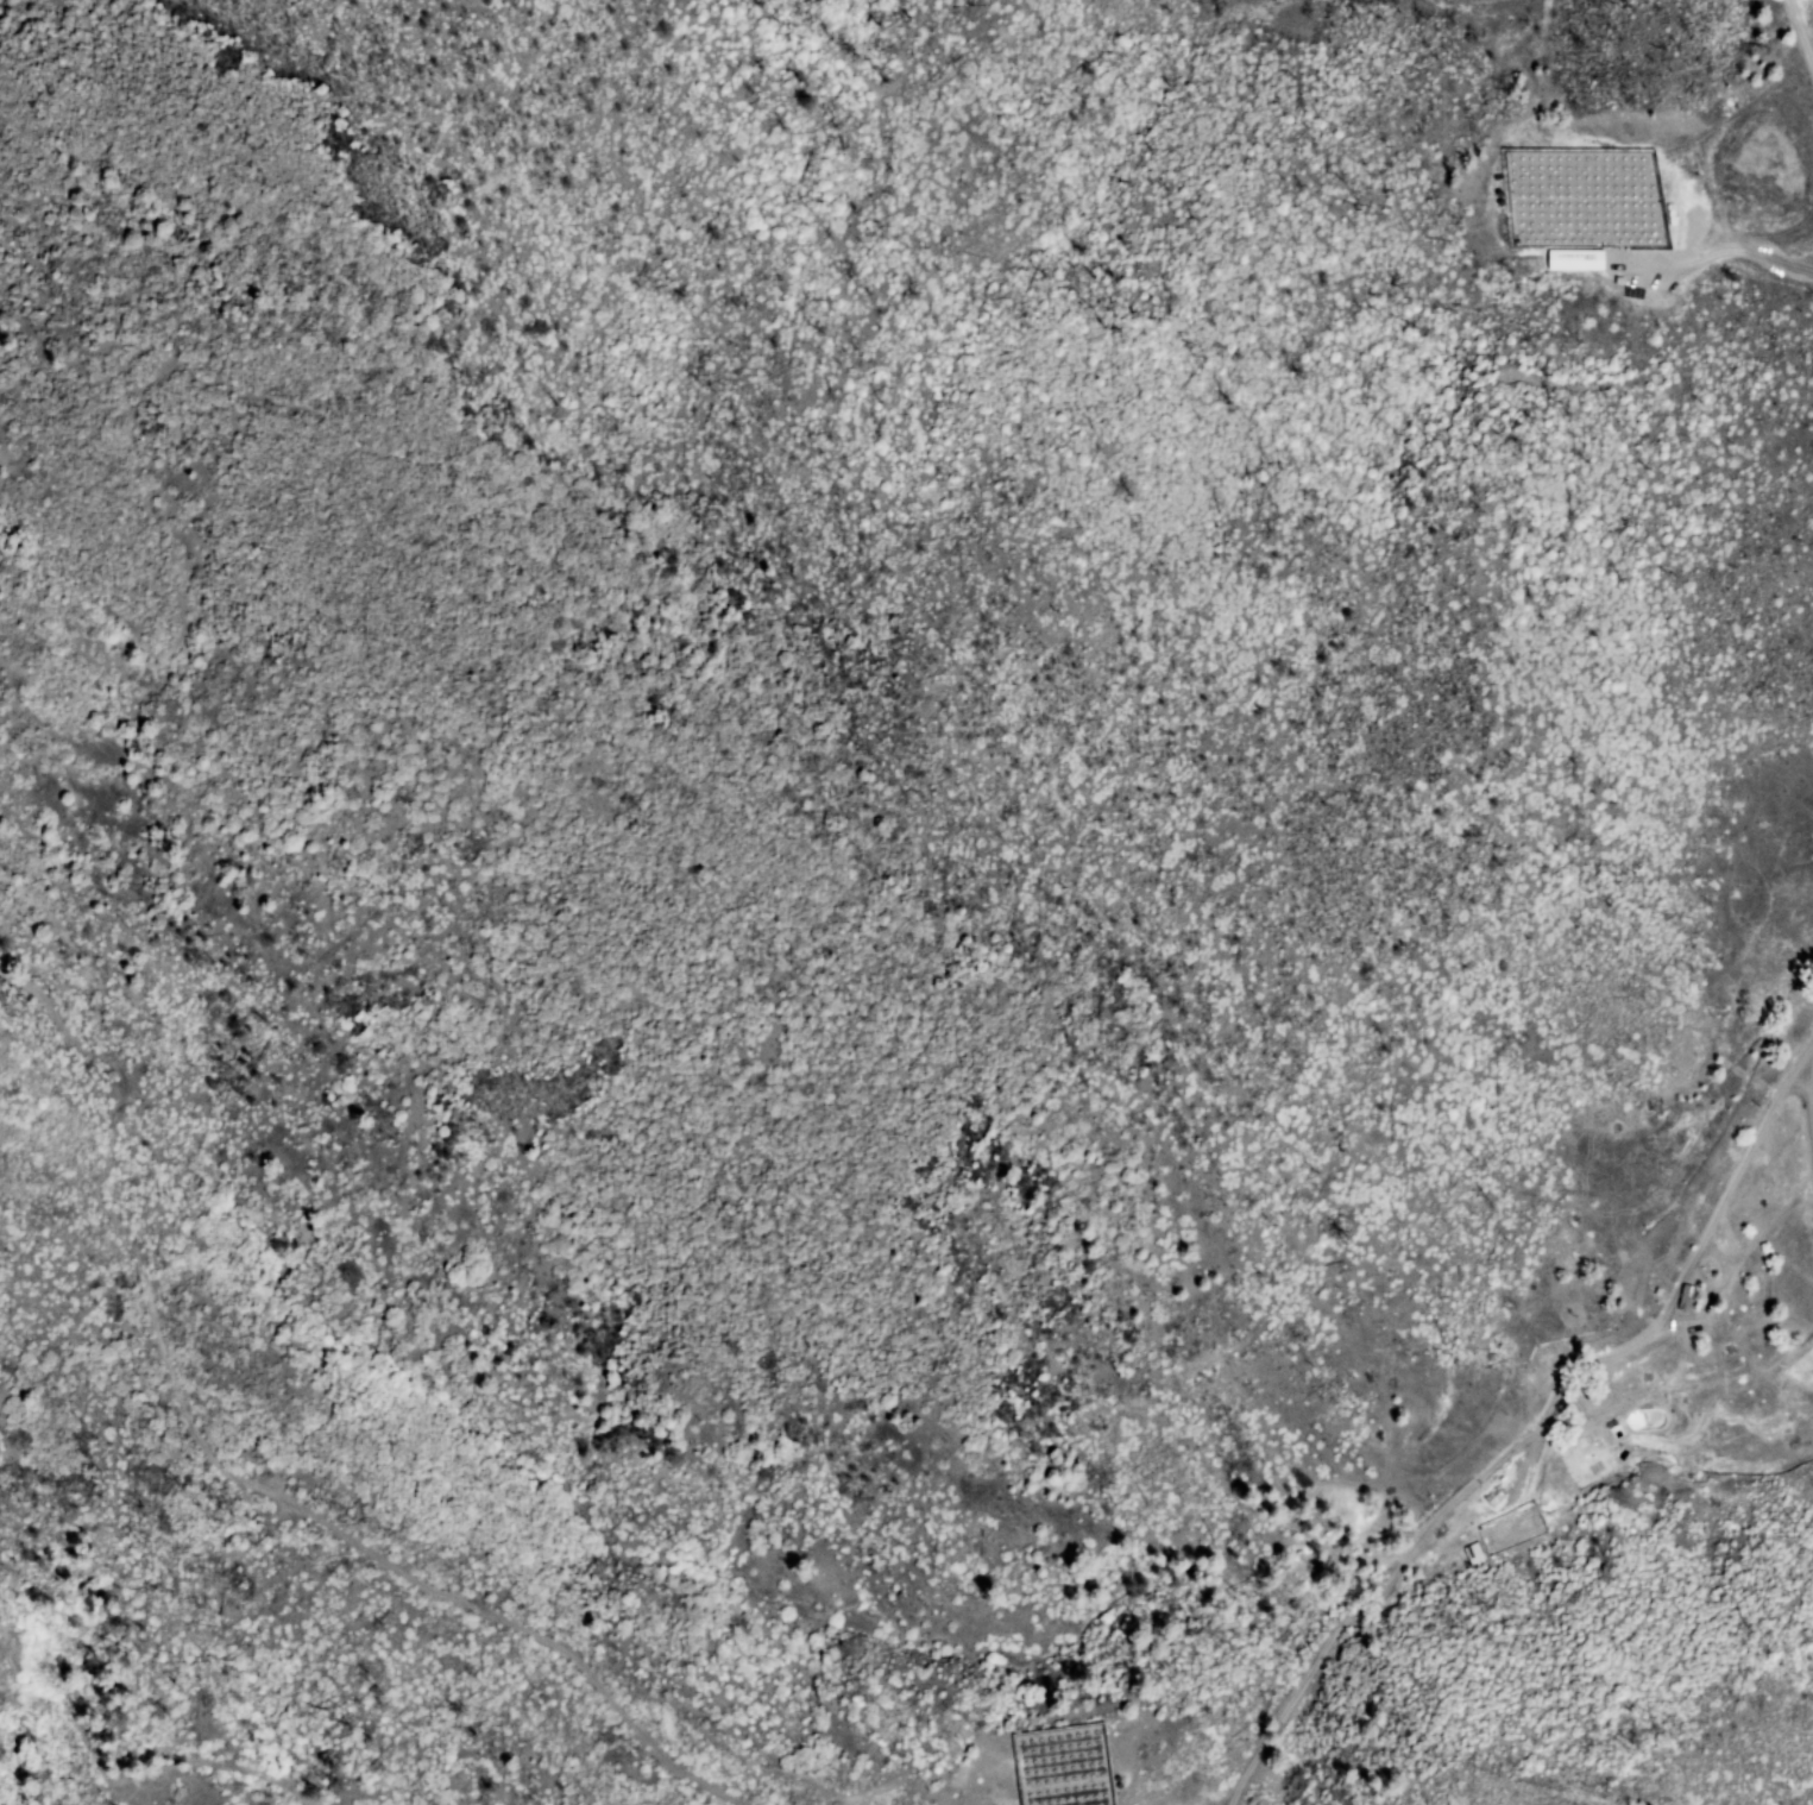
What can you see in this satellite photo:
road: (1801, 33)
building: (1575, 259)
building: (1647, 1270)
building: (1642, 1296)
building: (1688, 1298)
building: (1626, 1329)
road: (1743, 1352)
building: (1544, 1358)
building: (1800, 1429)
building: (1750, 1433)
road: (1525, 1434)
building: (1620, 1453)
road: (1535, 1466)
building: (1594, 1470)
road: (241, 1477)
building: (1559, 1524)
building: (1532, 1536)
building: (1496, 1549)
building: (1463, 1562)

